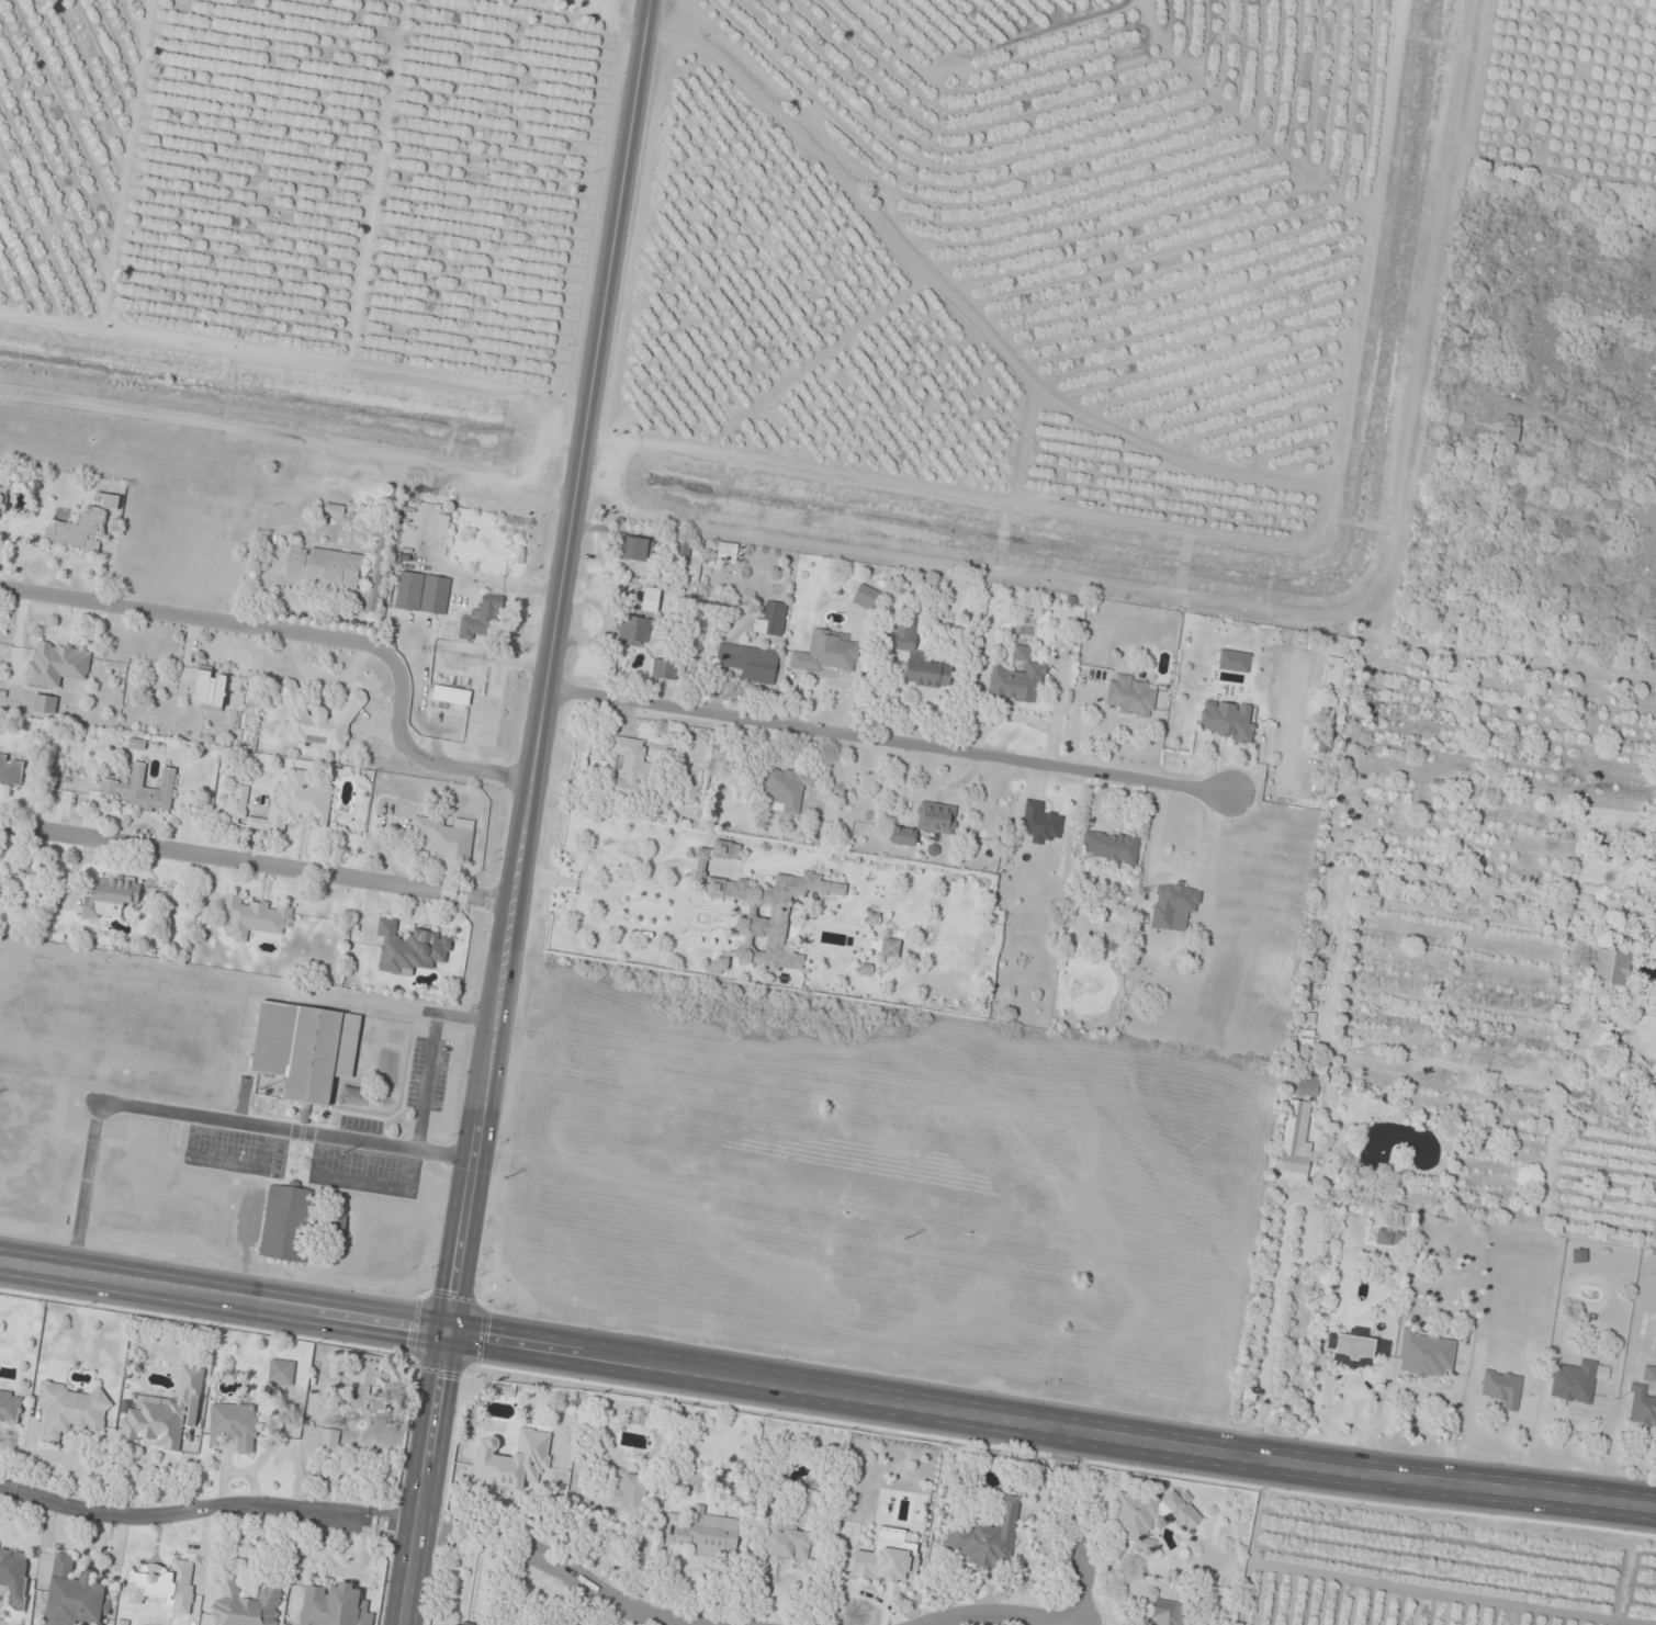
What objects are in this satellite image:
building: (1511, 428)
building: (3, 499)
building: (108, 500)
building: (78, 532)
building: (684, 546)
building: (637, 549)
building: (728, 553)
building: (325, 567)
building: (423, 593)
building: (483, 618)
building: (773, 619)
building: (634, 631)
road: (313, 634)
building: (902, 637)
building: (829, 653)
building: (750, 663)
building: (58, 665)
building: (667, 670)
building: (928, 674)
building: (1018, 679)
building: (210, 689)
building: (451, 695)
building: (1131, 696)
building: (45, 704)
building: (320, 719)
building: (1230, 721)
road: (886, 742)
building: (11, 770)
building: (629, 770)
building: (689, 787)
building: (143, 789)
building: (785, 789)
building: (285, 803)
road: (529, 812)
building: (927, 823)
building: (1041, 823)
building: (446, 836)
building: (1111, 847)
building: (726, 850)
building: (1655, 860)
road: (258, 866)
building: (112, 898)
building: (1173, 906)
building: (764, 916)
building: (252, 917)
building: (412, 948)
building: (890, 948)
building: (1611, 968)
building: (306, 1048)
road: (431, 1053)
building: (1307, 1086)
road: (204, 1116)
building: (1295, 1144)
building: (288, 1223)
building: (1389, 1239)
road: (227, 1301)
building: (1386, 1319)
traffic signals: (455, 1339)
building: (1358, 1348)
building: (1426, 1355)
building: (281, 1373)
road: (1351, 1381)
building: (1574, 1383)
building: (365, 1384)
building: (1502, 1388)
building: (1641, 1406)
building: (10, 1407)
building: (70, 1411)
building: (165, 1413)
building: (235, 1425)
road: (1055, 1425)
road: (1451, 1433)
building: (330, 1441)
building: (514, 1459)
building: (620, 1499)
building: (806, 1509)
road: (204, 1511)
building: (1148, 1515)
road: (1066, 1526)
building: (706, 1534)
building: (784, 1538)
building: (989, 1538)
road: (559, 1565)
building: (14, 1576)
building: (162, 1585)
building: (74, 1595)
building: (246, 1605)
building: (335, 1606)
building: (1167, 1613)
road: (999, 1616)
building: (122, 1623)
building: (437, 1624)

